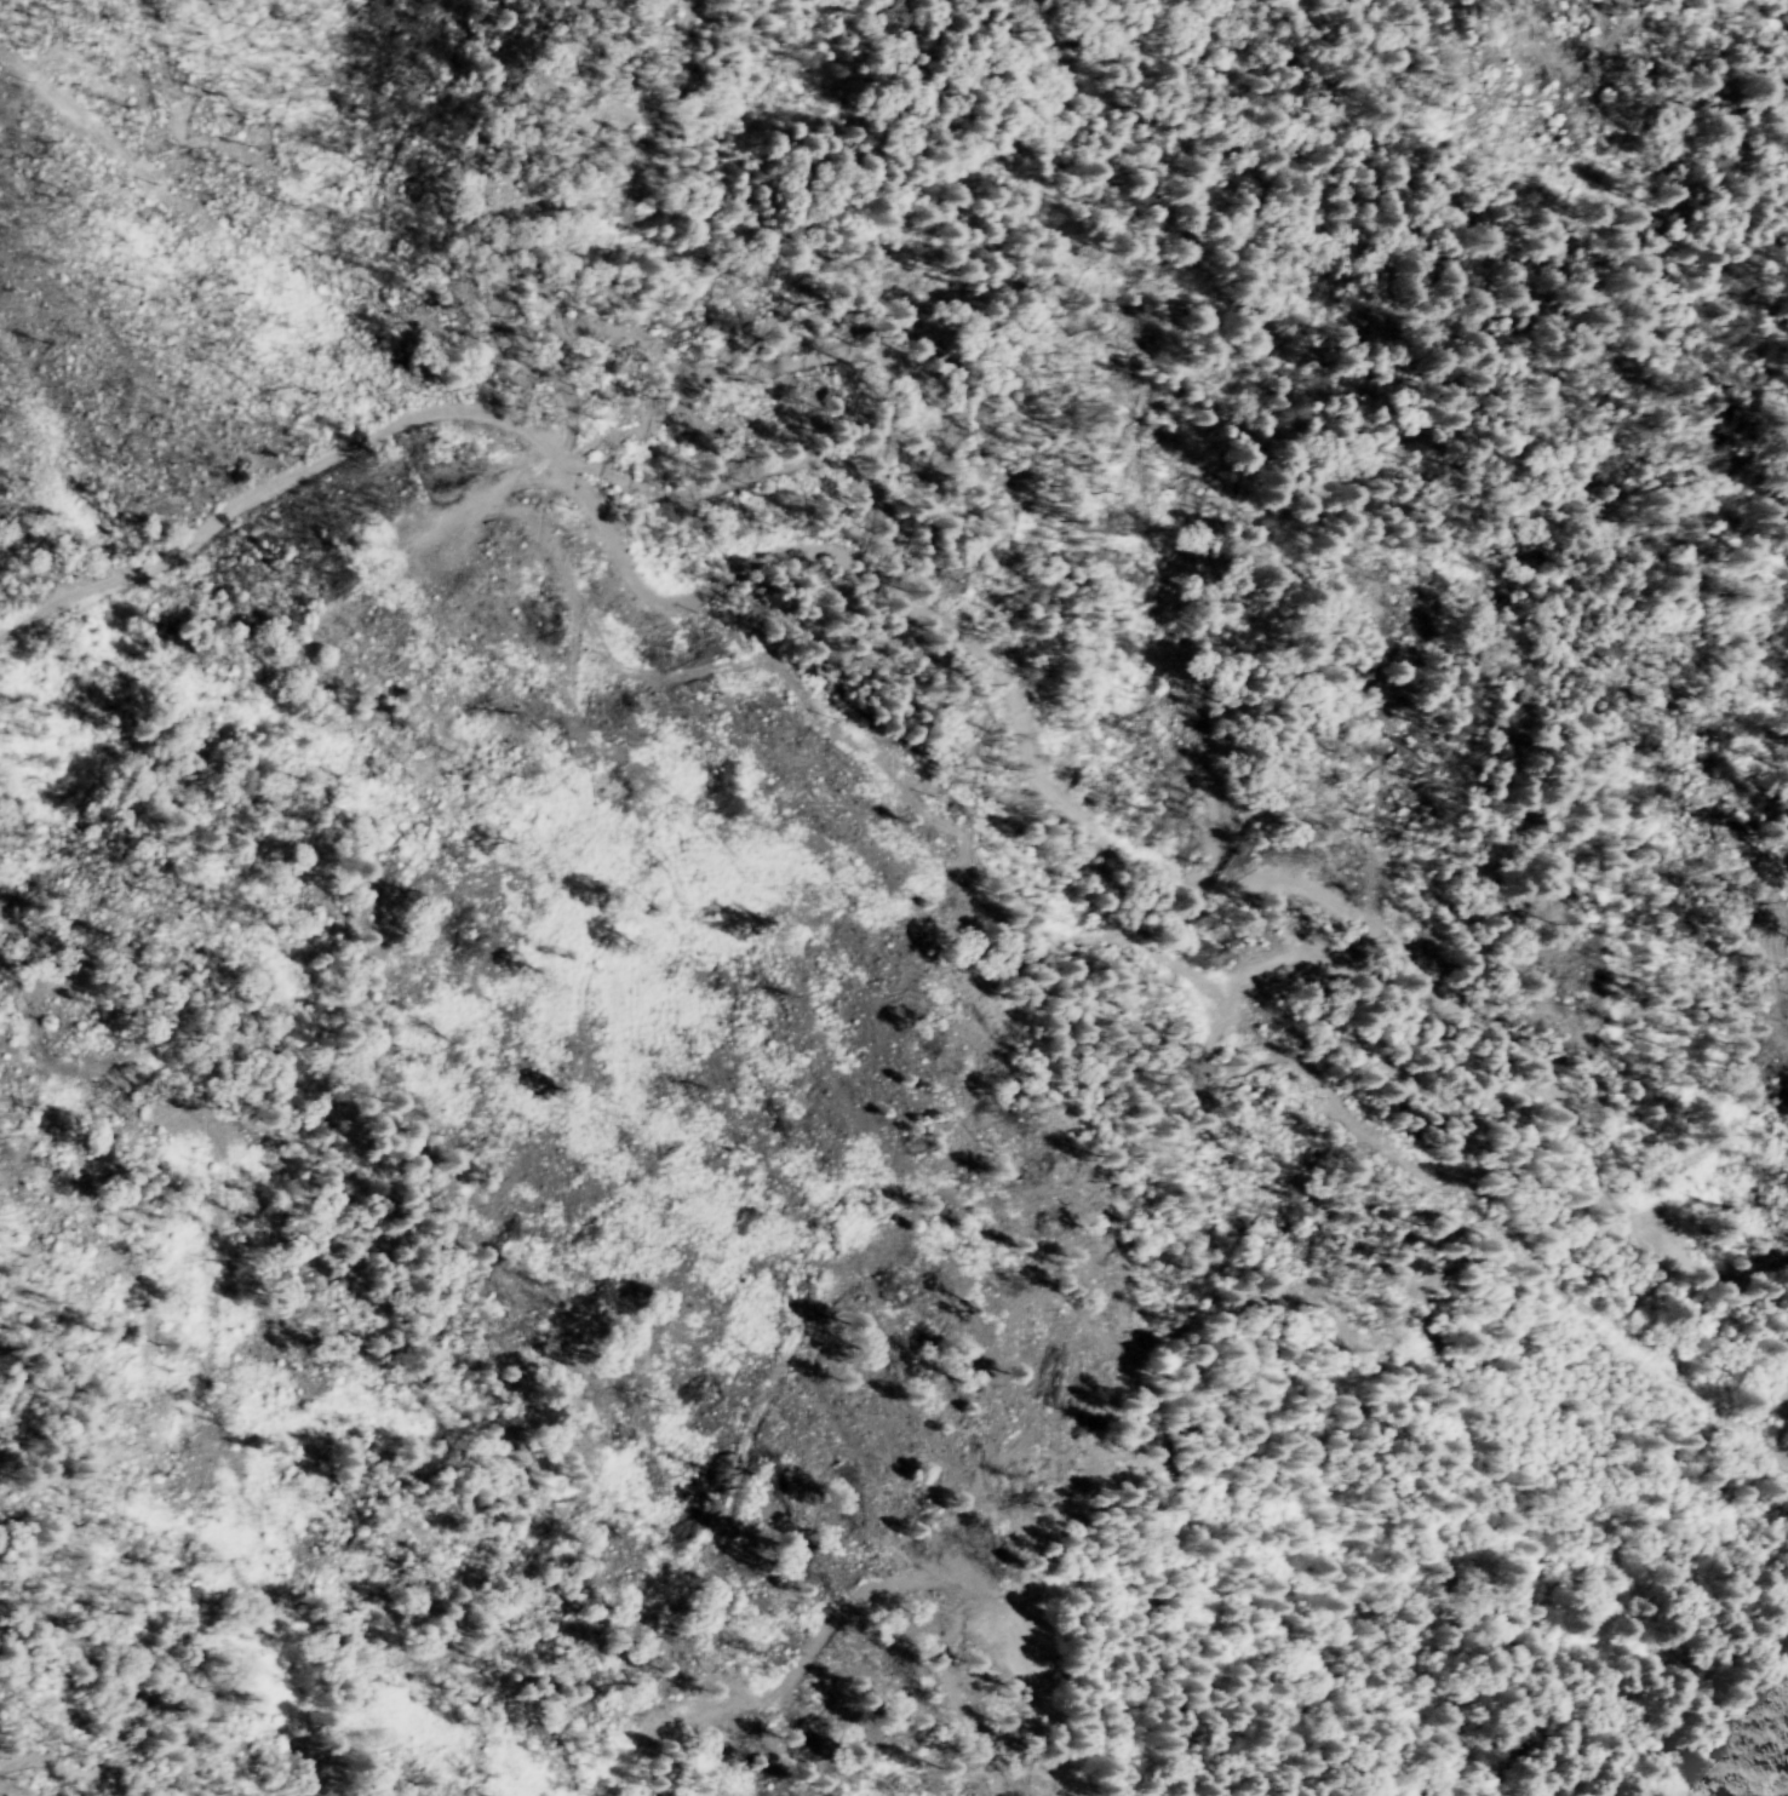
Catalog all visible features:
road: (986, 655)

